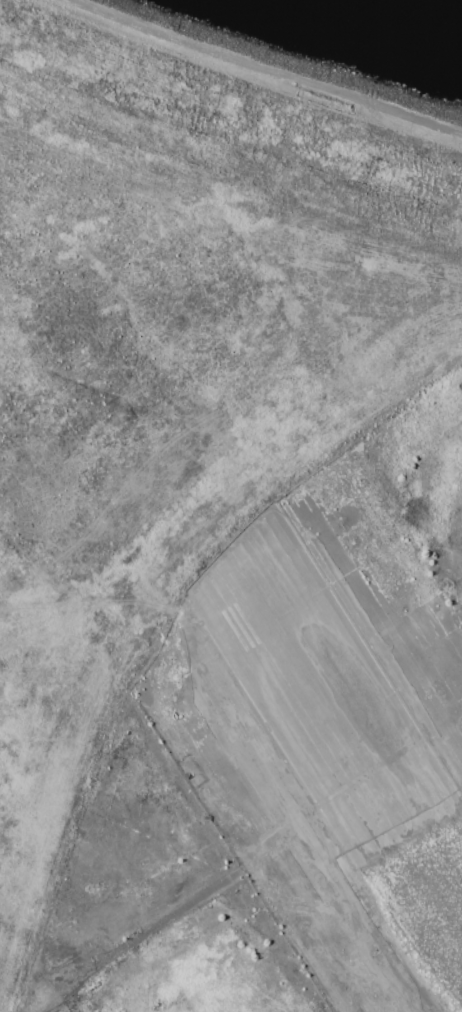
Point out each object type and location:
road: (248, 78)

